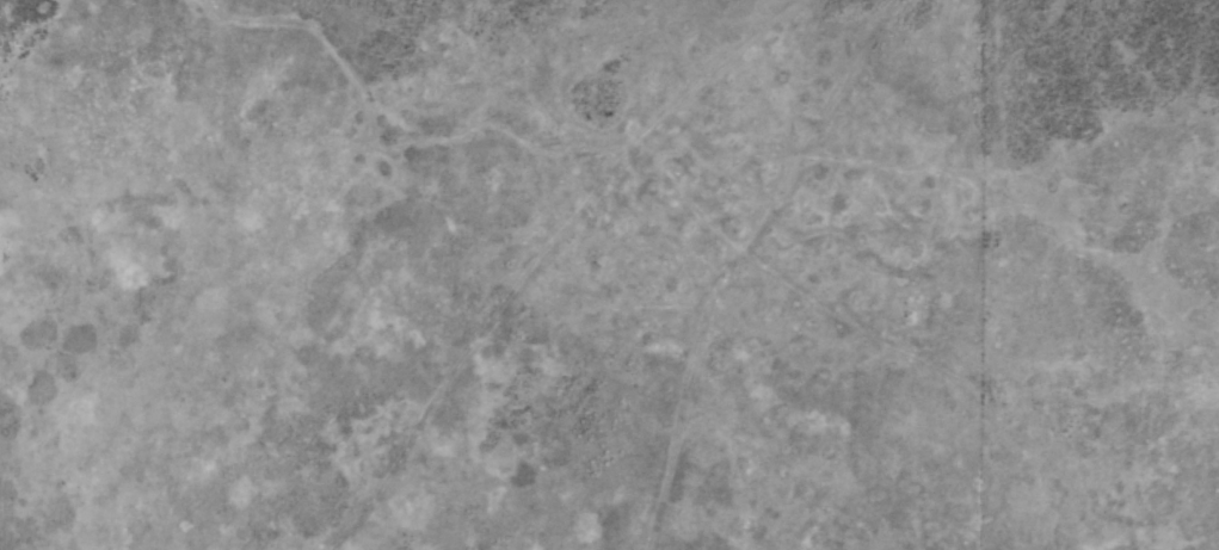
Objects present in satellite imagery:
road: (778, 270)
crop: (609, 274)

